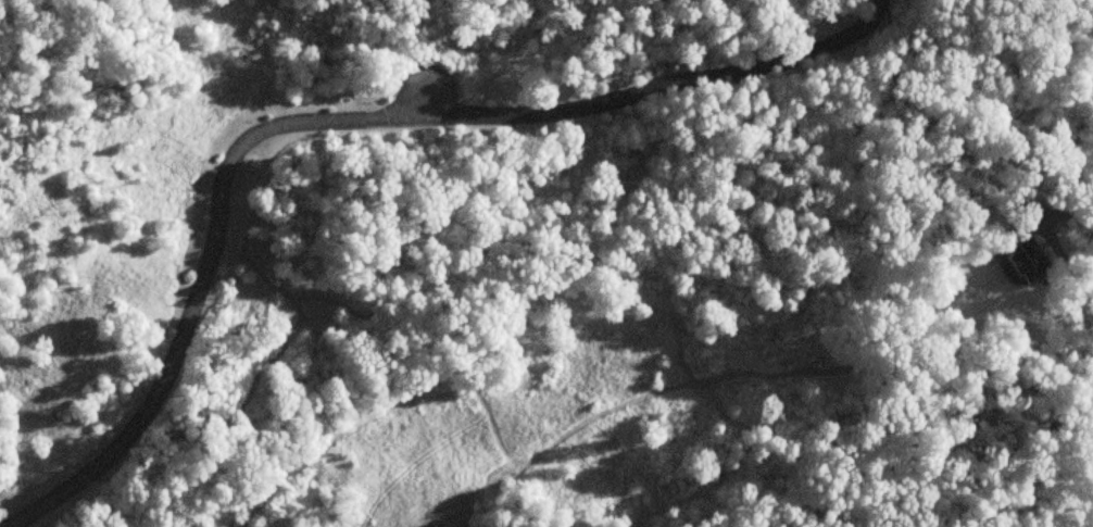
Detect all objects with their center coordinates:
road: (750, 67)
road: (222, 190)
road: (1077, 213)
building: (1022, 260)

